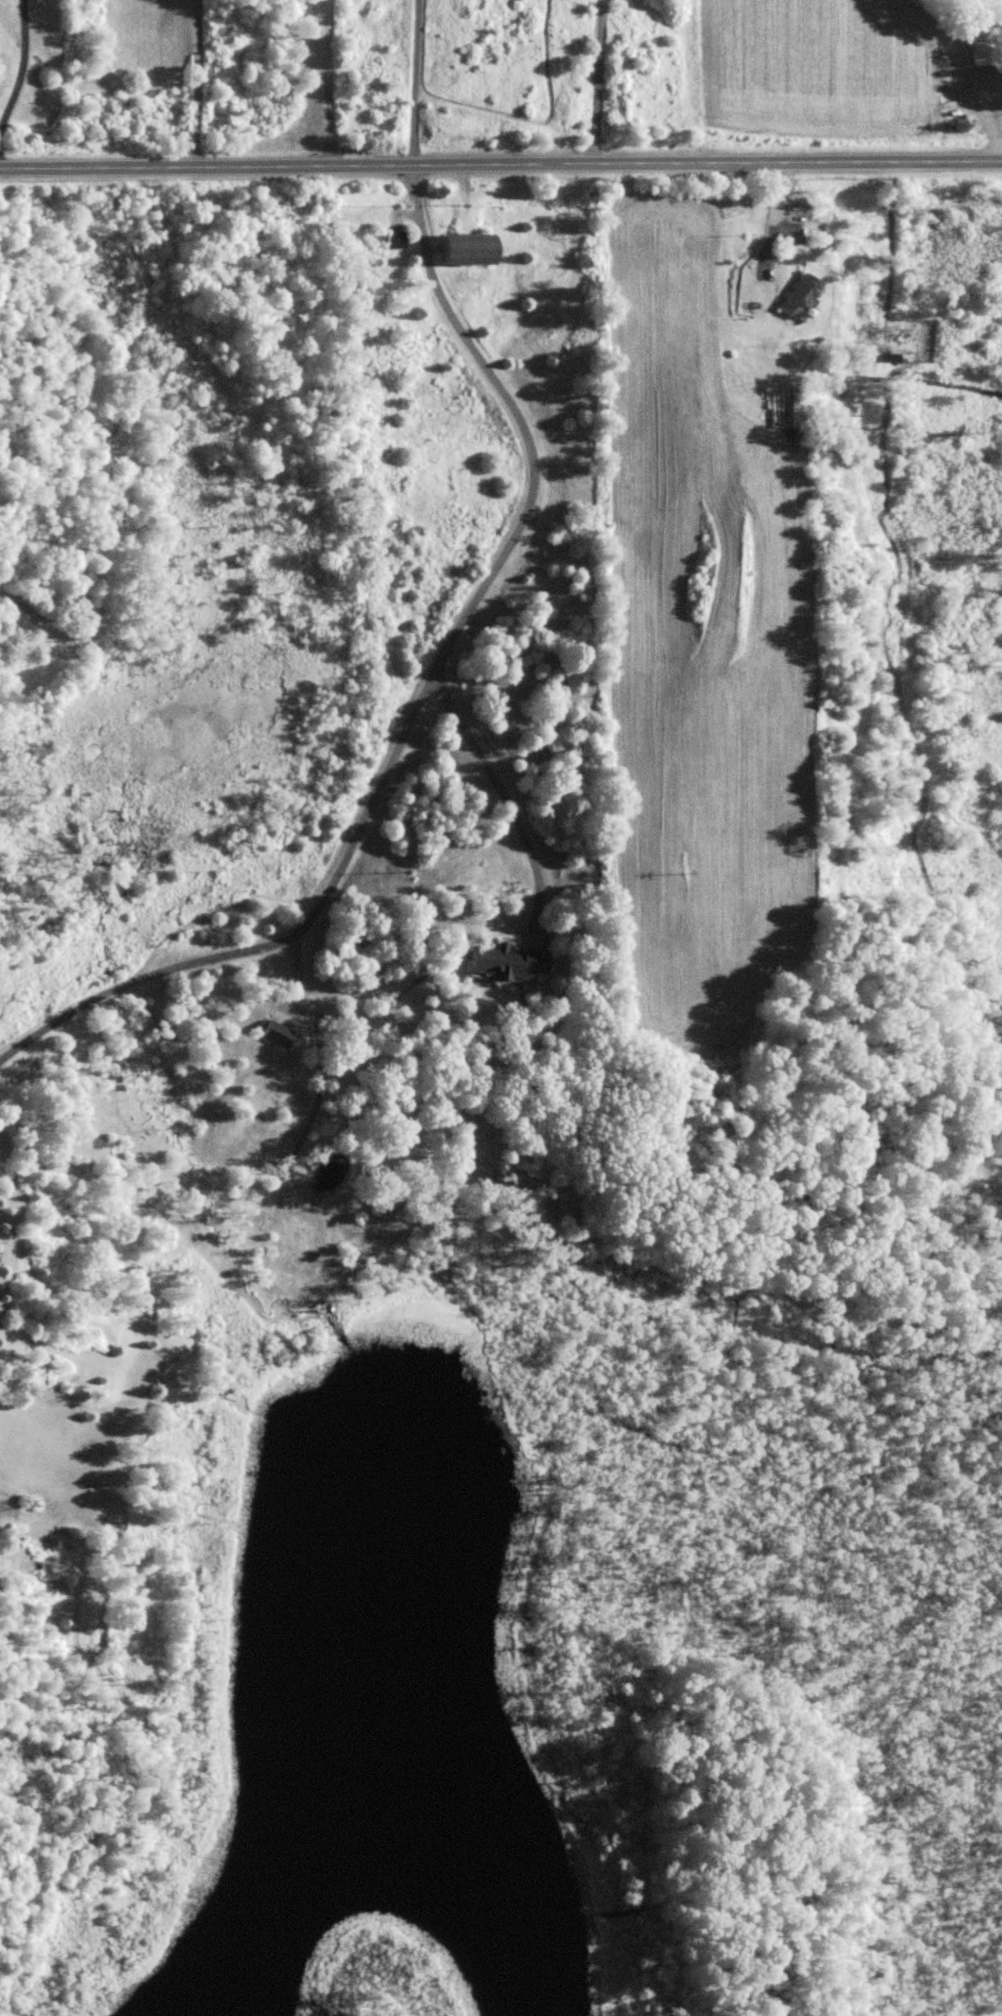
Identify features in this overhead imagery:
building: (985, 52)
road: (20, 60)
road: (599, 82)
road: (414, 83)
road: (192, 84)
road: (326, 84)
road: (500, 166)
road: (773, 223)
building: (395, 241)
building: (468, 250)
building: (803, 297)
road: (419, 699)
road: (498, 791)
building: (507, 962)
building: (276, 1034)

